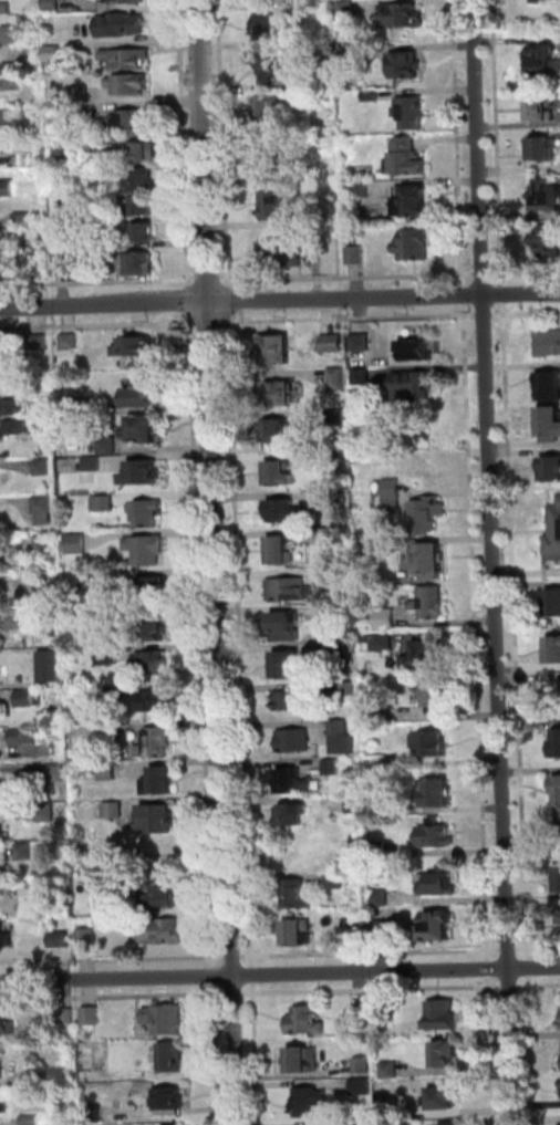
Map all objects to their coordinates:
building: (263, 1)
building: (541, 1)
building: (125, 2)
building: (52, 6)
building: (6, 9)
building: (293, 9)
building: (346, 10)
building: (402, 17)
building: (265, 24)
building: (120, 25)
building: (50, 29)
building: (12, 35)
building: (53, 54)
building: (349, 54)
building: (127, 60)
building: (543, 63)
building: (406, 64)
building: (266, 65)
building: (12, 69)
building: (326, 79)
building: (128, 85)
building: (80, 95)
building: (372, 95)
building: (541, 107)
building: (267, 110)
building: (411, 113)
building: (9, 117)
building: (131, 121)
building: (280, 129)
road: (180, 142)
road: (220, 142)
road: (457, 144)
building: (96, 145)
building: (545, 150)
building: (142, 152)
building: (24, 159)
building: (268, 164)
building: (406, 165)
building: (302, 177)
building: (141, 180)
building: (7, 189)
building: (357, 190)
building: (547, 197)
building: (415, 204)
building: (273, 206)
building: (144, 207)
building: (77, 217)
building: (22, 219)
building: (305, 223)
building: (143, 235)
building: (79, 243)
building: (414, 247)
building: (550, 247)
building: (356, 257)
building: (273, 258)
building: (62, 262)
building: (137, 263)
road: (478, 274)
road: (345, 275)
road: (96, 280)
road: (464, 291)
road: (279, 299)
road: (502, 299)
road: (526, 315)
road: (488, 316)
road: (93, 325)
building: (69, 342)
building: (38, 343)
building: (332, 344)
building: (362, 344)
building: (548, 344)
building: (134, 348)
building: (421, 351)
building: (277, 352)
building: (362, 377)
building: (338, 381)
building: (412, 387)
building: (550, 388)
building: (139, 396)
building: (281, 396)
building: (71, 405)
building: (12, 408)
building: (339, 418)
building: (551, 425)
building: (12, 428)
building: (145, 430)
building: (276, 435)
building: (108, 447)
building: (323, 460)
building: (92, 465)
building: (44, 468)
building: (551, 470)
building: (143, 475)
building: (280, 477)
building: (393, 496)
building: (332, 500)
building: (104, 504)
building: (44, 511)
building: (282, 512)
building: (147, 513)
building: (428, 515)
building: (328, 537)
building: (553, 537)
building: (79, 544)
building: (45, 548)
building: (367, 550)
building: (145, 552)
building: (281, 552)
road: (215, 562)
building: (432, 562)
road: (492, 562)
building: (335, 577)
building: (291, 591)
building: (153, 593)
building: (431, 604)
building: (554, 604)
building: (385, 619)
building: (15, 623)
building: (286, 628)
road: (515, 632)
building: (156, 634)
building: (378, 642)
road: (199, 645)
building: (554, 650)
building: (330, 652)
building: (107, 656)
building: (425, 656)
building: (154, 663)
building: (287, 666)
building: (51, 668)
building: (350, 690)
building: (117, 691)
building: (438, 697)
building: (556, 697)
building: (28, 699)
building: (154, 702)
building: (297, 702)
building: (373, 716)
building: (340, 729)
building: (110, 732)
building: (23, 738)
building: (294, 742)
building: (156, 744)
building: (557, 744)
building: (431, 746)
building: (331, 768)
building: (110, 773)
building: (56, 774)
building: (160, 783)
building: (349, 783)
building: (295, 784)
building: (558, 785)
building: (6, 788)
building: (438, 795)
building: (354, 804)
building: (386, 809)
building: (114, 812)
building: (46, 814)
building: (293, 816)
building: (157, 821)
building: (3, 833)
building: (436, 836)
building: (378, 850)
building: (25, 854)
building: (6, 867)
building: (100, 871)
building: (557, 877)
building: (335, 883)
building: (442, 884)
building: (27, 892)
building: (160, 897)
building: (297, 897)
building: (381, 899)
building: (1, 904)
building: (559, 916)
building: (382, 929)
building: (436, 929)
building: (357, 931)
building: (162, 934)
building: (298, 934)
building: (3, 939)
building: (87, 940)
building: (63, 941)
road: (538, 948)
road: (511, 949)
road: (228, 958)
road: (112, 959)
road: (529, 968)
road: (489, 973)
road: (280, 975)
road: (215, 976)
road: (253, 979)
road: (539, 986)
road: (510, 987)
road: (372, 989)
road: (236, 994)
road: (113, 998)
building: (388, 1013)
building: (362, 1014)
building: (442, 1015)
building: (92, 1017)
building: (66, 1020)
building: (166, 1020)
building: (307, 1021)
building: (8, 1024)
road: (531, 1050)
road: (492, 1051)
road: (256, 1053)
road: (217, 1054)
building: (448, 1056)
building: (172, 1059)
building: (304, 1060)
building: (363, 1066)
building: (391, 1071)
building: (2, 1072)
building: (62, 1075)
building: (34, 1079)
building: (363, 1088)
building: (447, 1098)
building: (170, 1100)
building: (310, 1103)
building: (1, 1105)
building: (3, 1110)
building: (94, 1114)
building: (391, 1115)
building: (31, 1121)
building: (452, 1124)

